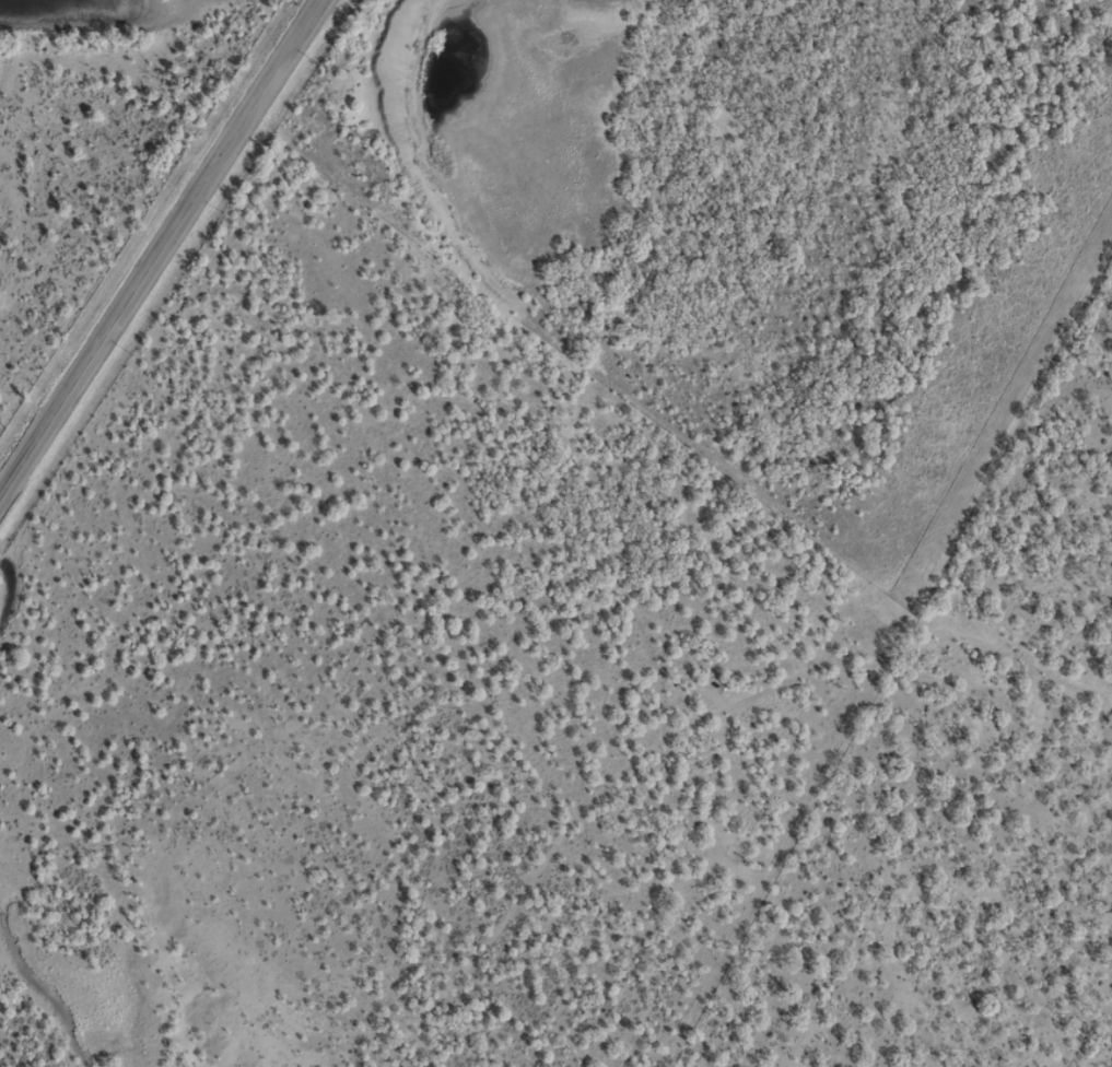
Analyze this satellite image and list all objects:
road: (163, 249)

